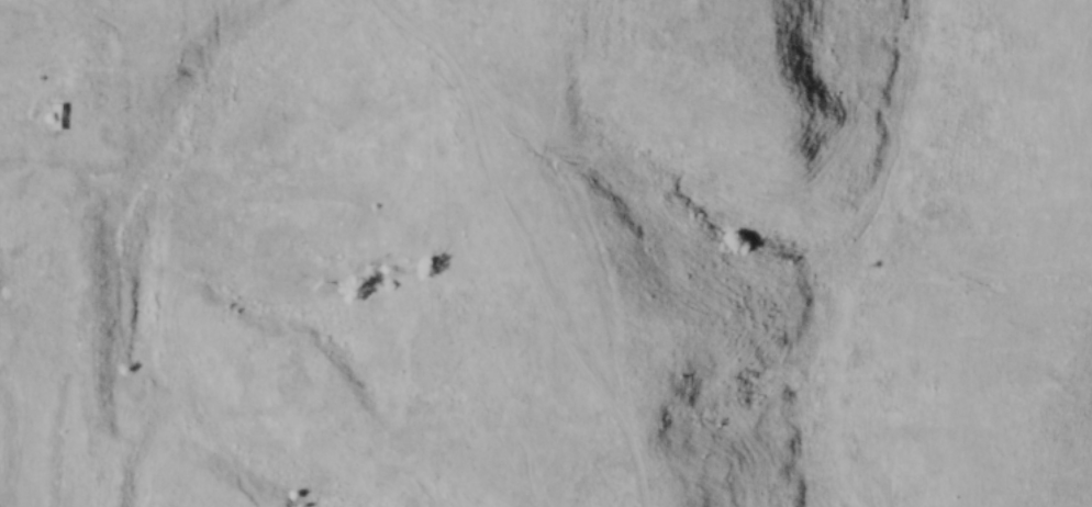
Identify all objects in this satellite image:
building: (62, 116)

